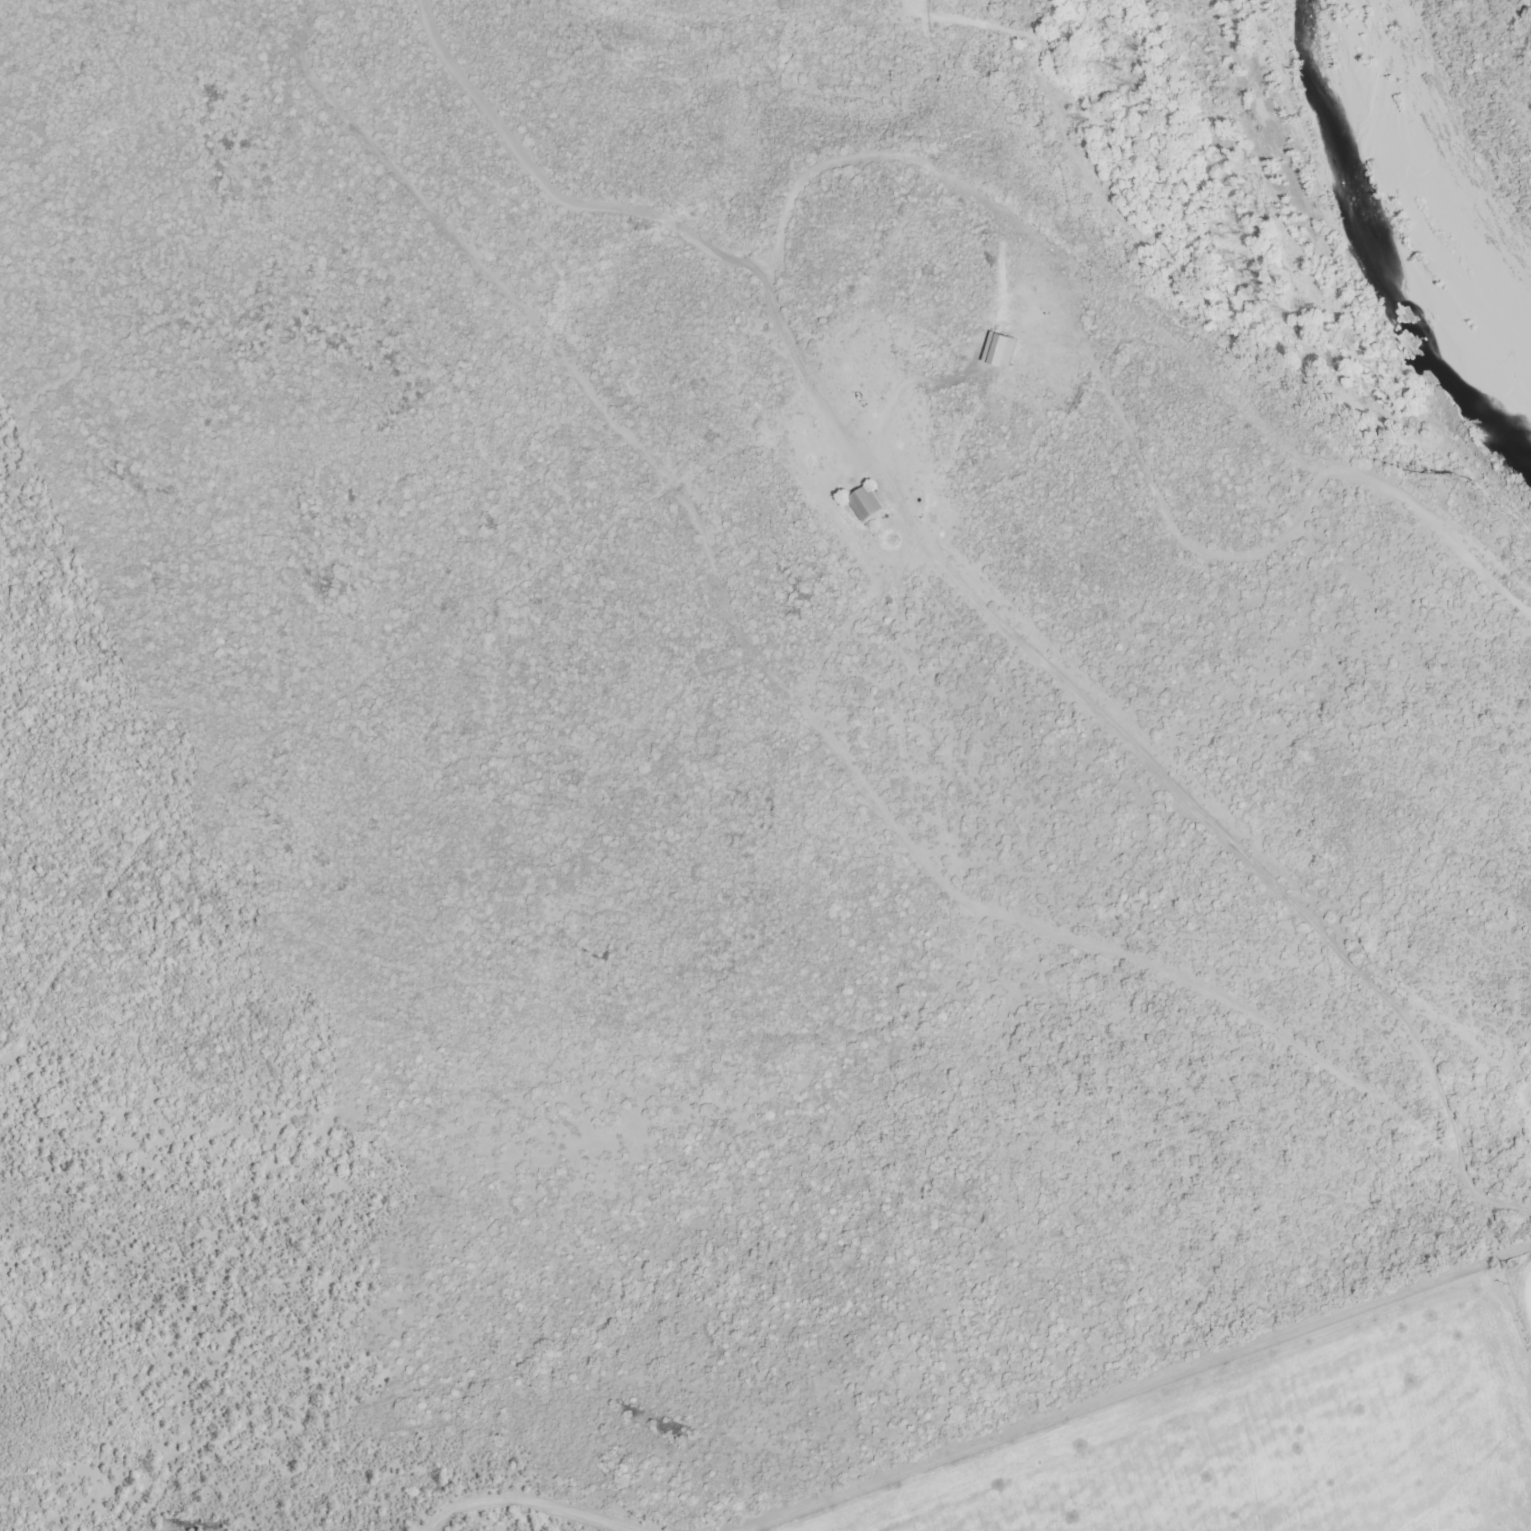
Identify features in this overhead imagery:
river: (1378, 260)
building: (1003, 350)
building: (867, 503)
road: (832, 740)
road: (1146, 1390)
road: (536, 1496)

